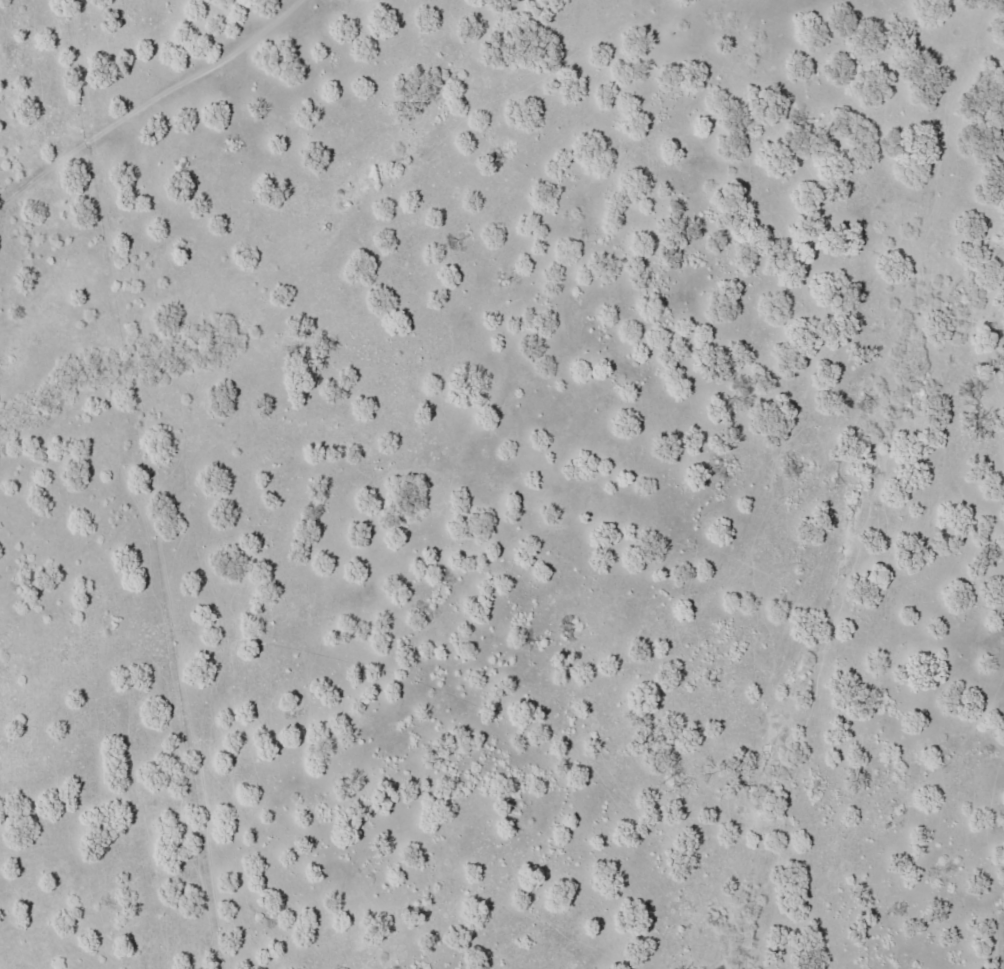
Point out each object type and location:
road: (141, 86)
road: (581, 183)

